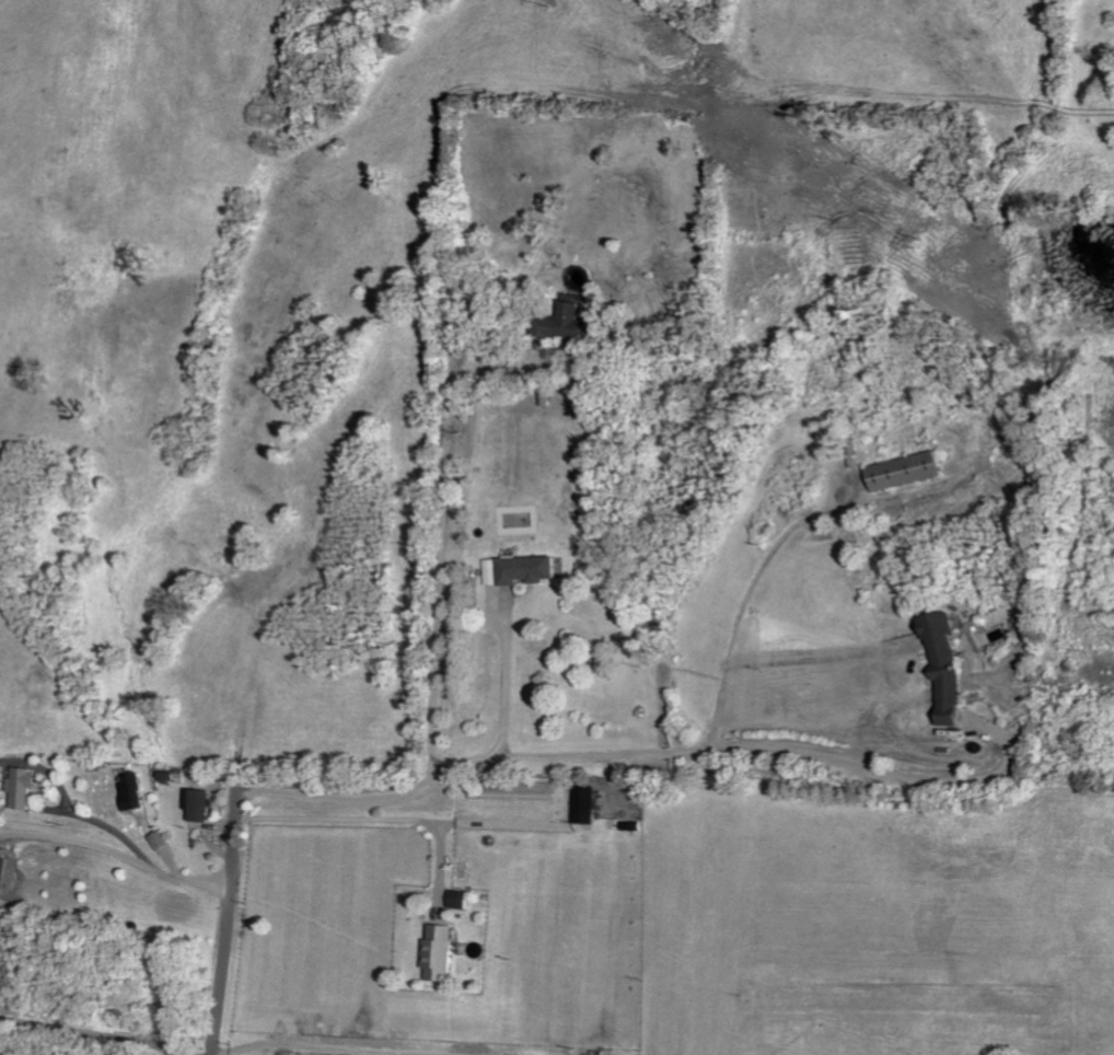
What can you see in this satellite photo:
building: (573, 323)
building: (907, 471)
road: (437, 545)
building: (531, 569)
building: (495, 571)
building: (949, 670)
road: (658, 752)
building: (169, 776)
building: (23, 788)
building: (131, 791)
building: (201, 805)
building: (585, 805)
road: (72, 807)
road: (368, 820)
road: (74, 837)
building: (159, 840)
road: (183, 877)
building: (457, 900)
road: (219, 920)
building: (439, 952)
road: (305, 1046)

